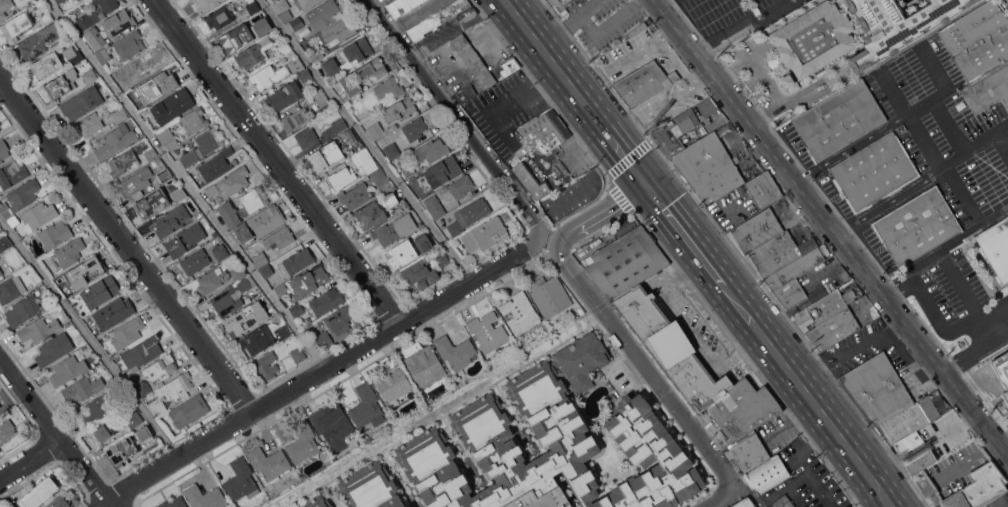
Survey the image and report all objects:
building: (544, 0)
building: (567, 0)
building: (59, 1)
building: (392, 1)
building: (557, 2)
building: (307, 3)
road: (664, 4)
building: (107, 5)
building: (207, 5)
building: (281, 5)
building: (403, 6)
building: (4, 7)
building: (252, 7)
road: (747, 11)
road: (774, 11)
building: (324, 14)
road: (411, 14)
building: (220, 16)
building: (286, 16)
building: (46, 17)
building: (443, 18)
building: (87, 20)
building: (118, 22)
building: (297, 23)
building: (18, 25)
building: (895, 25)
building: (266, 26)
building: (637, 29)
building: (339, 31)
road: (561, 32)
road: (666, 34)
road: (598, 35)
building: (235, 37)
building: (95, 38)
building: (813, 39)
road: (658, 40)
road: (726, 40)
building: (38, 41)
building: (128, 45)
building: (282, 46)
building: (464, 49)
building: (358, 50)
building: (253, 53)
building: (72, 54)
building: (981, 54)
building: (103, 55)
building: (317, 56)
building: (144, 64)
building: (296, 64)
road: (756, 64)
building: (47, 65)
building: (331, 66)
building: (510, 66)
building: (117, 73)
building: (482, 73)
building: (90, 76)
building: (268, 76)
building: (305, 76)
building: (361, 77)
road: (701, 78)
building: (165, 82)
building: (644, 83)
building: (62, 84)
building: (388, 88)
road: (535, 90)
building: (149, 91)
road: (578, 91)
building: (465, 93)
building: (284, 96)
building: (320, 97)
road: (796, 99)
building: (82, 102)
building: (173, 106)
building: (708, 106)
building: (400, 109)
road: (653, 110)
building: (120, 115)
road: (455, 117)
building: (194, 120)
building: (294, 120)
building: (838, 120)
road: (914, 120)
road: (890, 122)
building: (91, 124)
building: (340, 125)
building: (413, 129)
building: (726, 129)
building: (376, 130)
building: (545, 131)
building: (676, 131)
building: (167, 137)
building: (308, 138)
building: (210, 140)
building: (351, 140)
building: (115, 141)
road: (366, 141)
building: (3, 150)
building: (391, 150)
building: (430, 150)
building: (151, 154)
building: (325, 156)
building: (189, 158)
building: (365, 160)
building: (121, 162)
road: (278, 163)
building: (216, 164)
building: (161, 170)
building: (443, 171)
building: (874, 171)
building: (721, 172)
building: (12, 173)
building: (378, 176)
building: (341, 178)
road: (924, 178)
building: (532, 180)
building: (229, 183)
building: (135, 184)
road: (185, 184)
traffic signals: (648, 184)
building: (200, 186)
building: (461, 186)
building: (179, 194)
building: (356, 196)
building: (20, 198)
building: (254, 199)
building: (391, 199)
building: (153, 204)
building: (434, 206)
road: (601, 212)
building: (38, 214)
building: (229, 214)
building: (371, 215)
building: (469, 215)
building: (171, 220)
building: (14, 221)
building: (260, 224)
building: (916, 226)
building: (395, 229)
road: (829, 229)
building: (54, 233)
building: (485, 234)
building: (279, 238)
building: (187, 239)
building: (4, 242)
road: (125, 243)
building: (424, 243)
building: (767, 243)
road: (696, 247)
building: (996, 247)
building: (70, 251)
building: (220, 251)
building: (404, 252)
building: (260, 258)
building: (298, 260)
building: (442, 260)
building: (626, 261)
building: (194, 262)
building: (266, 270)
building: (1, 271)
building: (86, 273)
building: (238, 273)
building: (0, 274)
building: (419, 275)
building: (792, 279)
building: (209, 281)
building: (309, 282)
building: (11, 288)
road: (897, 288)
road: (966, 288)
building: (281, 289)
building: (100, 291)
building: (548, 295)
building: (230, 297)
building: (325, 301)
road: (925, 301)
building: (296, 309)
building: (23, 310)
building: (114, 312)
building: (520, 312)
building: (246, 318)
building: (828, 318)
building: (342, 321)
building: (39, 328)
building: (128, 331)
building: (282, 331)
building: (488, 331)
road: (89, 336)
building: (323, 339)
building: (257, 340)
building: (54, 348)
road: (849, 350)
building: (456, 351)
building: (141, 352)
building: (298, 354)
building: (267, 365)
road: (644, 365)
building: (1005, 365)
building: (425, 366)
building: (161, 367)
building: (695, 367)
building: (69, 368)
road: (322, 370)
building: (460, 379)
building: (393, 384)
building: (142, 387)
building: (82, 388)
building: (877, 388)
building: (171, 391)
road: (819, 407)
building: (366, 408)
building: (96, 409)
building: (189, 410)
building: (134, 419)
building: (910, 420)
road: (793, 421)
building: (332, 424)
building: (6, 430)
building: (102, 433)
building: (144, 433)
road: (56, 436)
road: (1002, 439)
building: (303, 442)
building: (551, 445)
building: (122, 451)
building: (915, 453)
building: (326, 457)
building: (334, 458)
road: (801, 458)
road: (30, 459)
building: (269, 462)
building: (757, 462)
road: (944, 476)
building: (241, 480)
building: (370, 487)
building: (978, 488)
building: (39, 492)
building: (205, 497)
road: (718, 498)
building: (316, 502)
building: (56, 503)
building: (173, 503)
building: (744, 503)
building: (406, 506)

